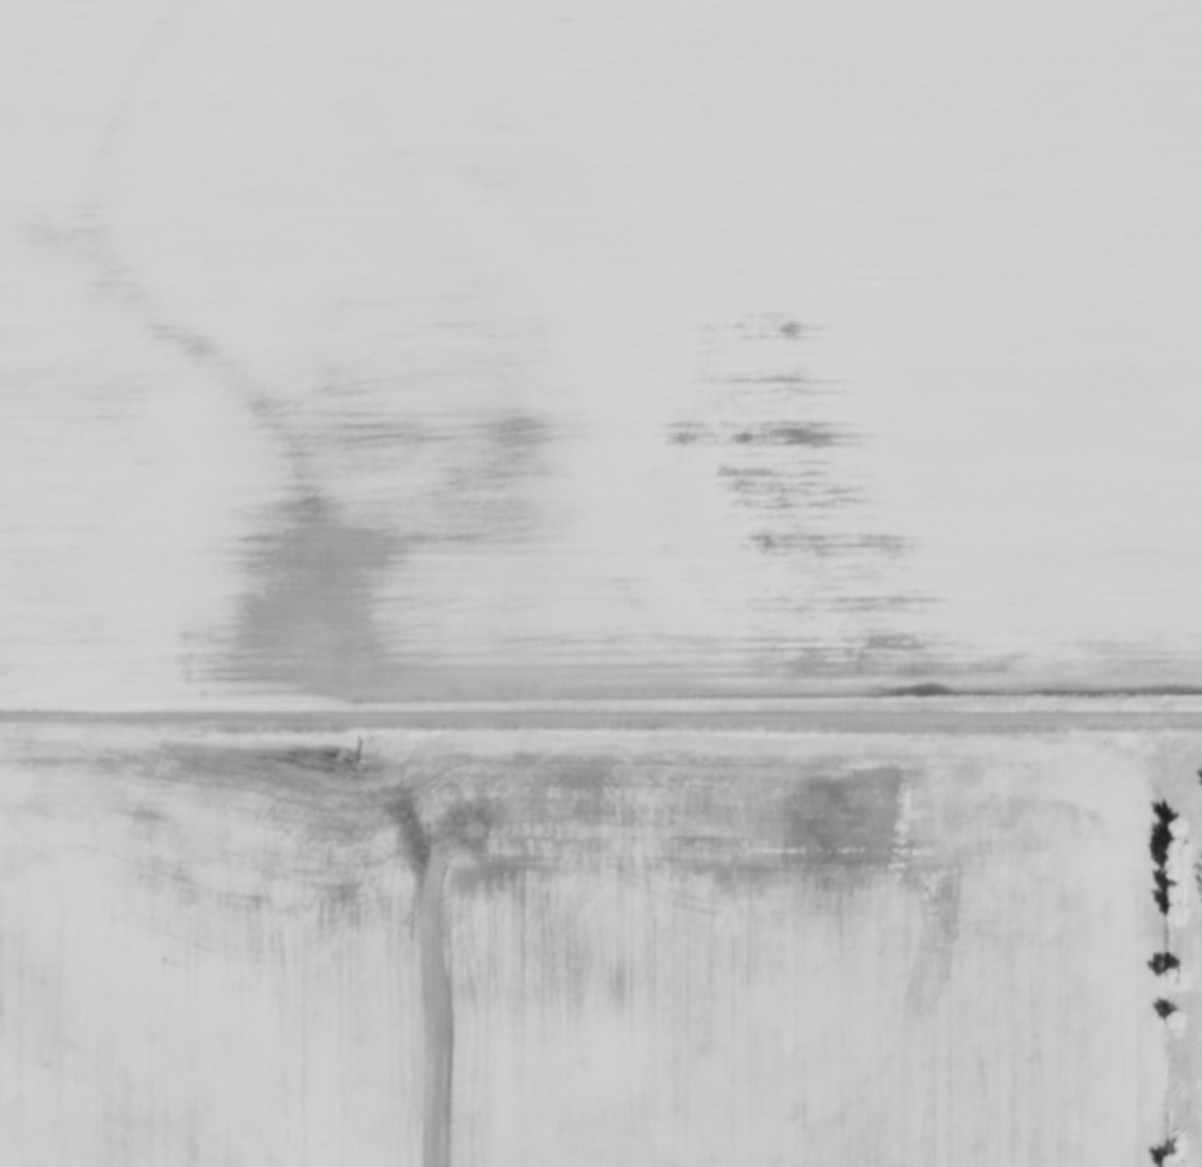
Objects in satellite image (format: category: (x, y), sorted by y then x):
road: (600, 719)

